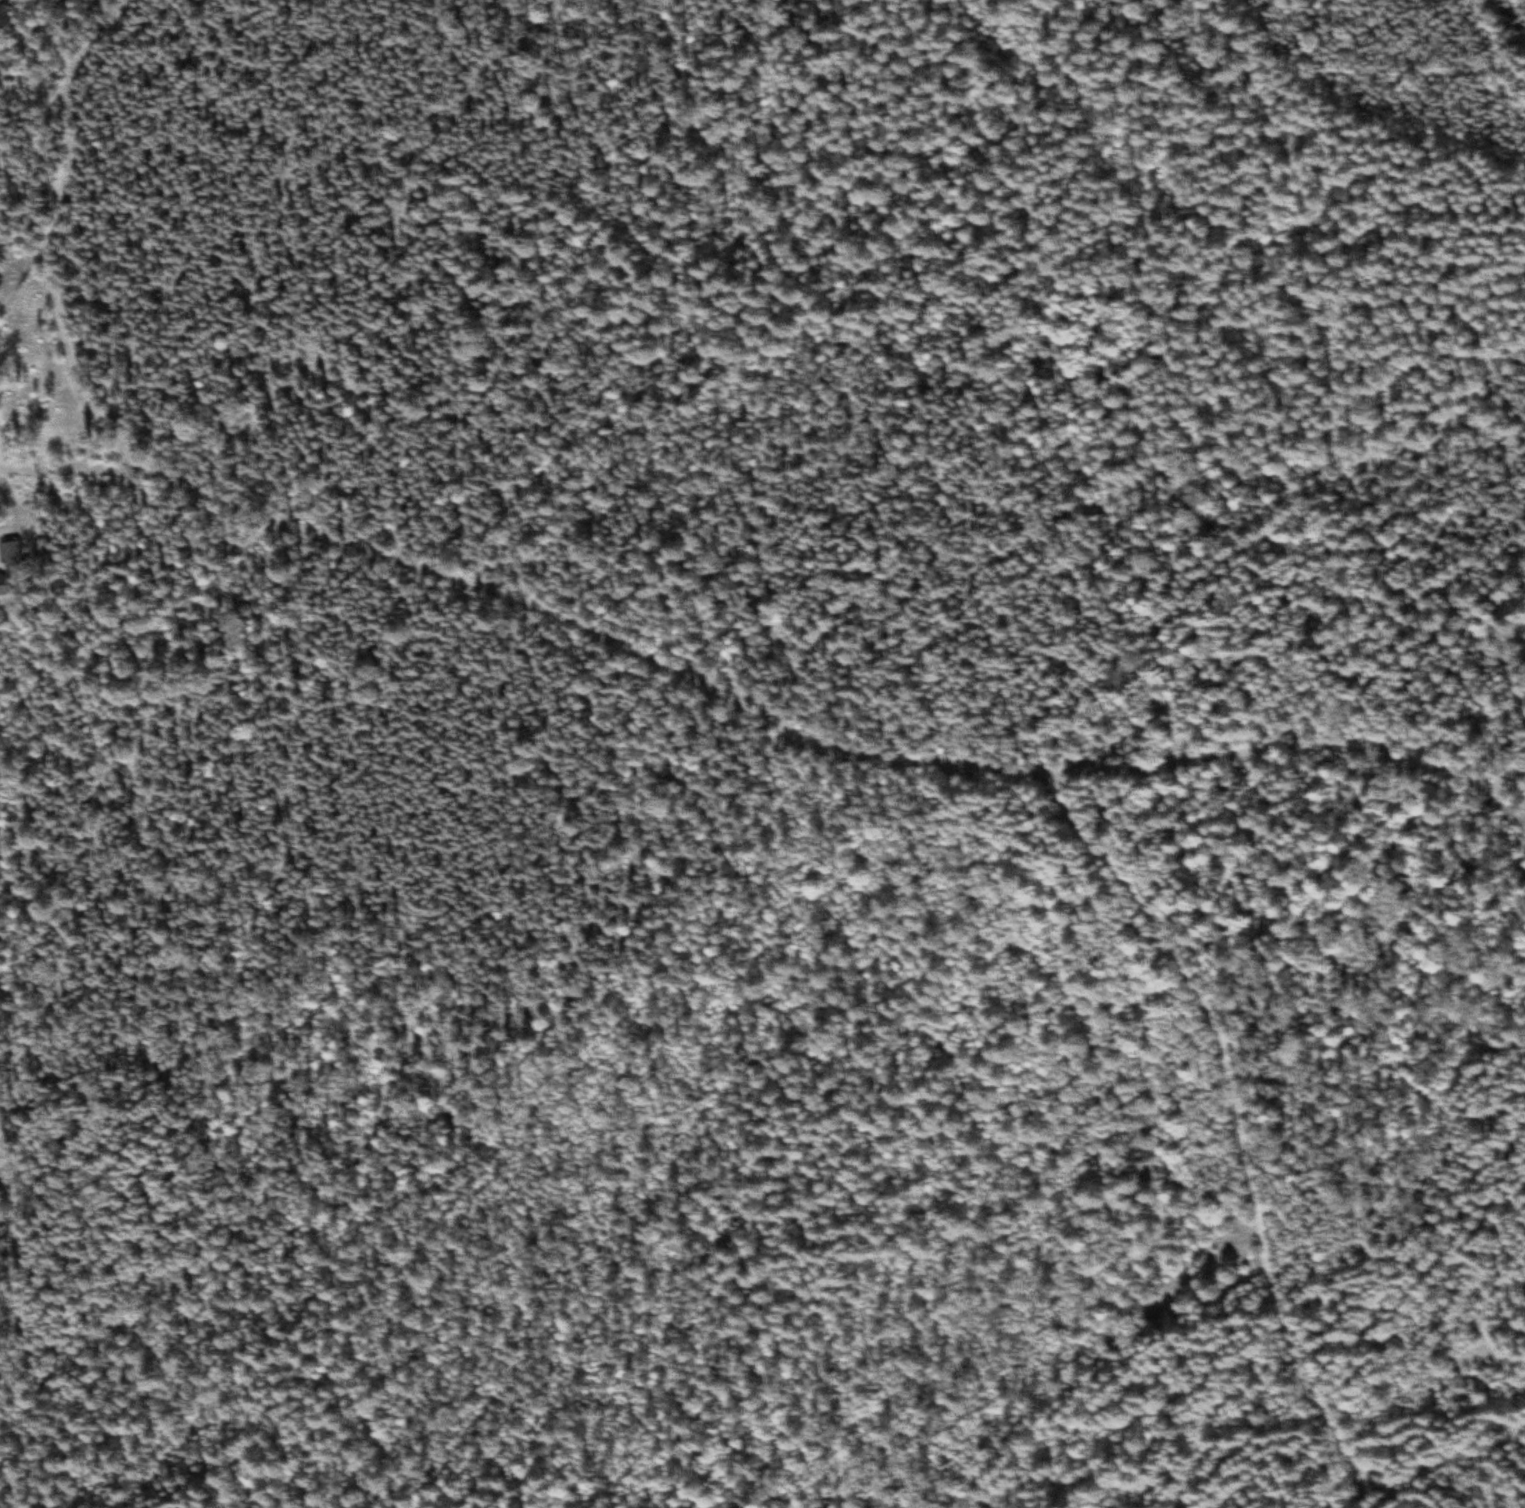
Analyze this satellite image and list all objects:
road: (917, 80)
road: (60, 232)
road: (1064, 369)
building: (11, 555)
building: (5, 588)
road: (598, 631)
road: (1368, 745)
road: (1244, 1120)

